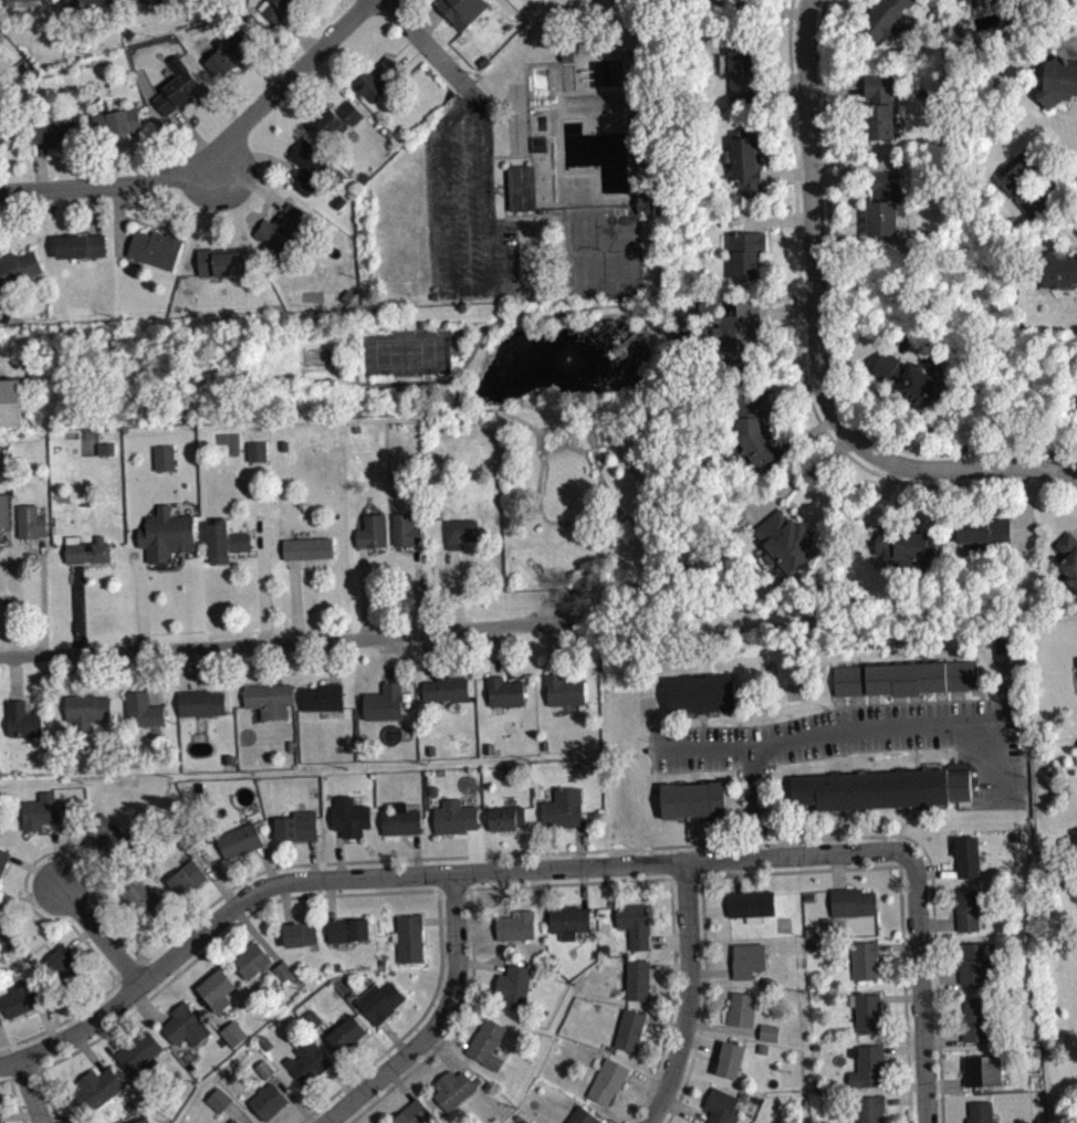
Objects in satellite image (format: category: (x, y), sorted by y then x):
building: (151, 0)
building: (966, 0)
building: (732, 1)
building: (30, 3)
building: (88, 3)
building: (276, 8)
building: (461, 10)
building: (885, 18)
road: (427, 20)
road: (425, 42)
road: (822, 42)
building: (229, 53)
building: (743, 72)
building: (378, 78)
building: (1058, 81)
road: (284, 82)
building: (177, 86)
building: (879, 105)
building: (336, 120)
building: (116, 122)
building: (3, 127)
building: (52, 129)
building: (744, 161)
building: (309, 165)
building: (1026, 181)
road: (107, 185)
building: (521, 186)
building: (885, 203)
parking lot: (466, 210)
building: (286, 228)
building: (80, 244)
building: (156, 248)
building: (745, 253)
building: (222, 263)
building: (18, 269)
building: (1057, 272)
road: (467, 290)
building: (725, 326)
road: (817, 342)
park: (407, 353)
road: (801, 354)
building: (909, 380)
building: (11, 403)
building: (1076, 405)
building: (1076, 416)
building: (0, 430)
building: (755, 432)
building: (257, 450)
building: (259, 459)
building: (167, 465)
building: (3, 511)
building: (30, 522)
building: (405, 528)
building: (460, 529)
building: (370, 531)
building: (986, 531)
building: (167, 534)
building: (224, 539)
building: (786, 542)
building: (903, 546)
building: (307, 547)
building: (86, 549)
building: (1069, 557)
road: (45, 601)
road: (276, 640)
building: (1005, 647)
building: (906, 678)
building: (445, 688)
building: (563, 690)
building: (504, 691)
building: (701, 694)
building: (322, 696)
building: (270, 699)
building: (201, 702)
building: (384, 702)
building: (86, 709)
building: (143, 709)
building: (22, 720)
road: (848, 728)
parking lot: (864, 739)
building: (880, 788)
building: (692, 799)
building: (563, 807)
building: (43, 810)
building: (349, 817)
building: (454, 817)
building: (505, 817)
building: (401, 820)
building: (296, 825)
building: (109, 837)
building: (240, 840)
building: (968, 857)
building: (3, 858)
road: (420, 858)
road: (425, 875)
road: (684, 877)
building: (187, 878)
road: (452, 889)
road: (322, 894)
road: (900, 894)
building: (853, 902)
building: (145, 903)
building: (750, 904)
building: (966, 910)
building: (568, 921)
building: (634, 923)
building: (515, 924)
building: (347, 930)
road: (470, 930)
building: (7, 932)
building: (300, 934)
road: (101, 937)
building: (409, 937)
building: (251, 959)
building: (747, 959)
building: (865, 959)
building: (62, 963)
building: (976, 963)
road: (125, 967)
building: (283, 969)
building: (285, 978)
building: (638, 978)
building: (513, 985)
road: (919, 988)
building: (217, 989)
building: (24, 996)
road: (687, 996)
building: (379, 1000)
road: (701, 1003)
road: (670, 1005)
building: (741, 1009)
building: (866, 1012)
building: (312, 1019)
building: (977, 1019)
road: (438, 1021)
building: (185, 1025)
building: (629, 1029)
building: (346, 1031)
building: (233, 1032)
building: (768, 1032)
building: (236, 1040)
building: (771, 1040)
building: (488, 1042)
building: (139, 1052)
building: (307, 1060)
building: (730, 1060)
building: (866, 1064)
building: (264, 1068)
building: (982, 1070)
road: (22, 1073)
building: (266, 1077)
building: (607, 1080)
building: (97, 1087)
building: (454, 1088)
road: (30, 1092)
road: (13, 1098)
building: (269, 1100)
building: (721, 1106)
building: (221, 1108)
building: (870, 1109)
building: (980, 1112)
building: (414, 1113)
building: (582, 1115)
building: (139, 1119)
building: (233, 1121)

